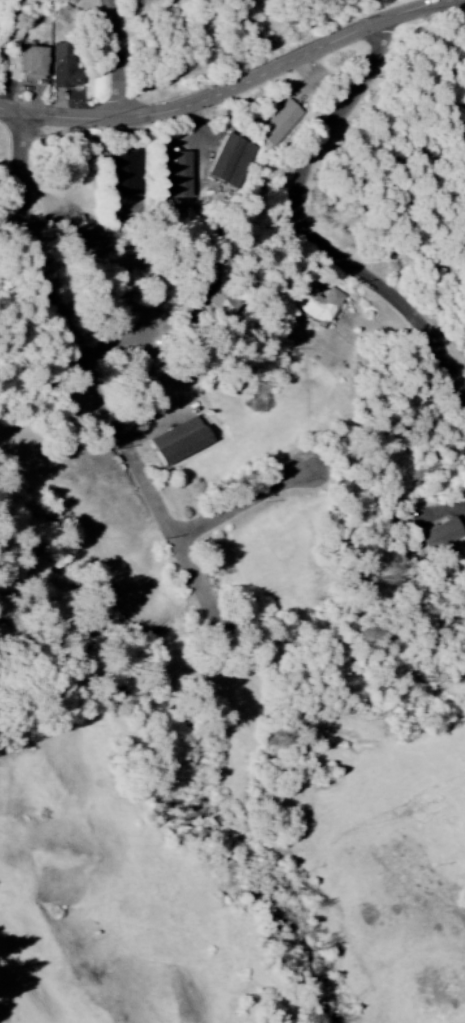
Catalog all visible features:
road: (121, 59)
building: (31, 62)
building: (62, 68)
road: (236, 88)
building: (279, 122)
building: (231, 161)
building: (124, 173)
building: (176, 175)
road: (307, 225)
building: (88, 243)
building: (318, 302)
building: (223, 303)
road: (169, 321)
road: (95, 383)
road: (245, 501)
building: (438, 535)

